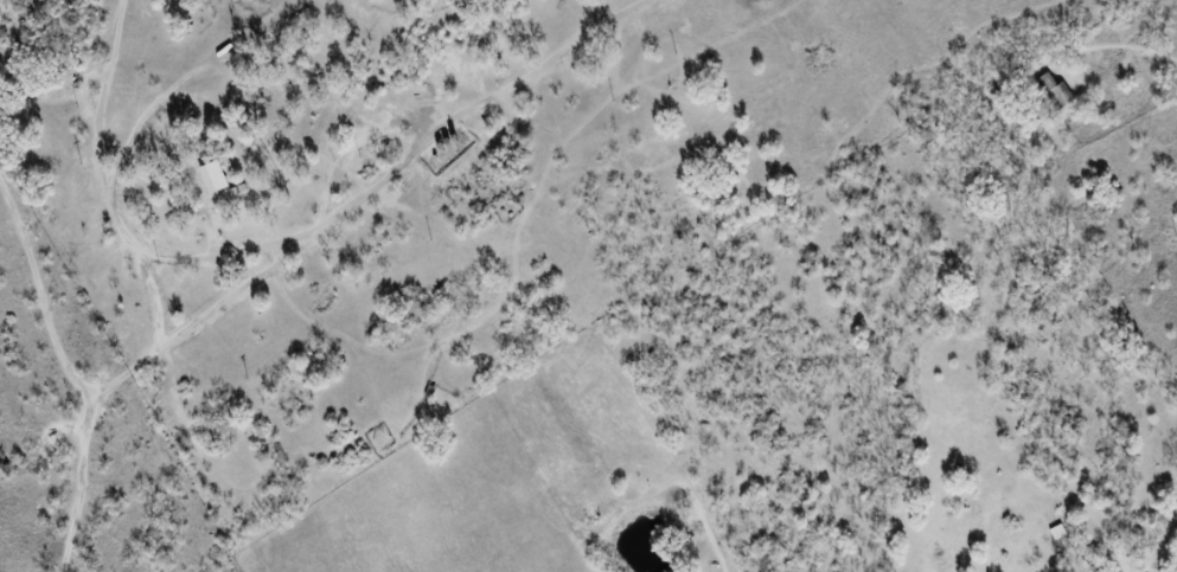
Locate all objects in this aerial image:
building: (1054, 91)
road: (414, 150)
building: (211, 176)
building: (1055, 532)

